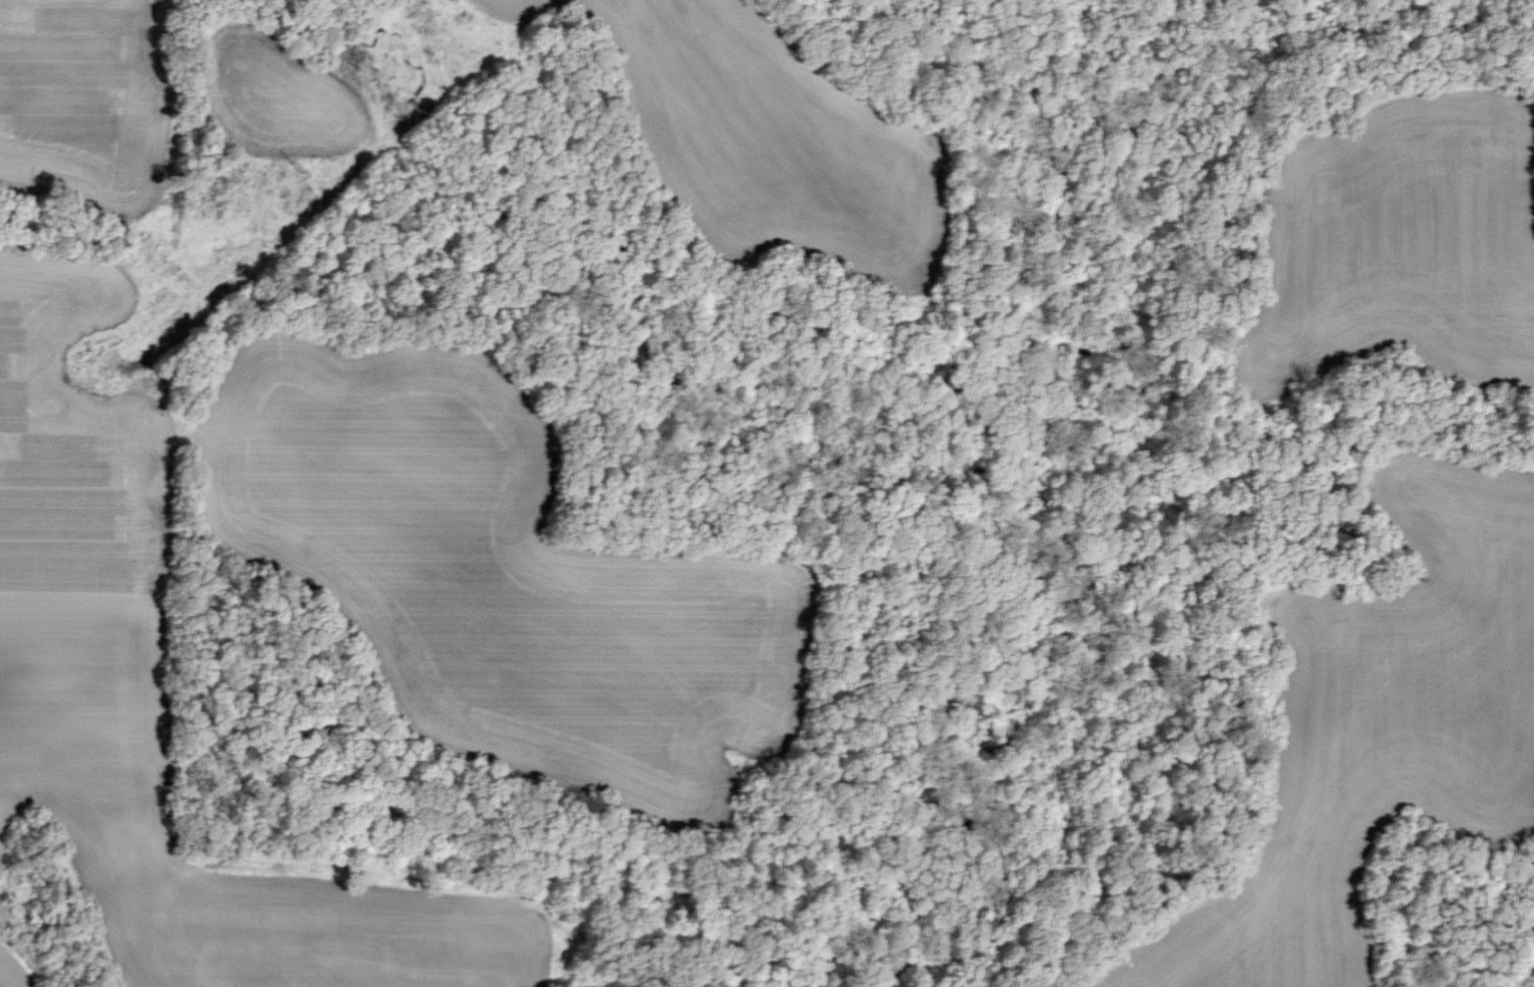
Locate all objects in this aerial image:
power tower: (293, 167)

